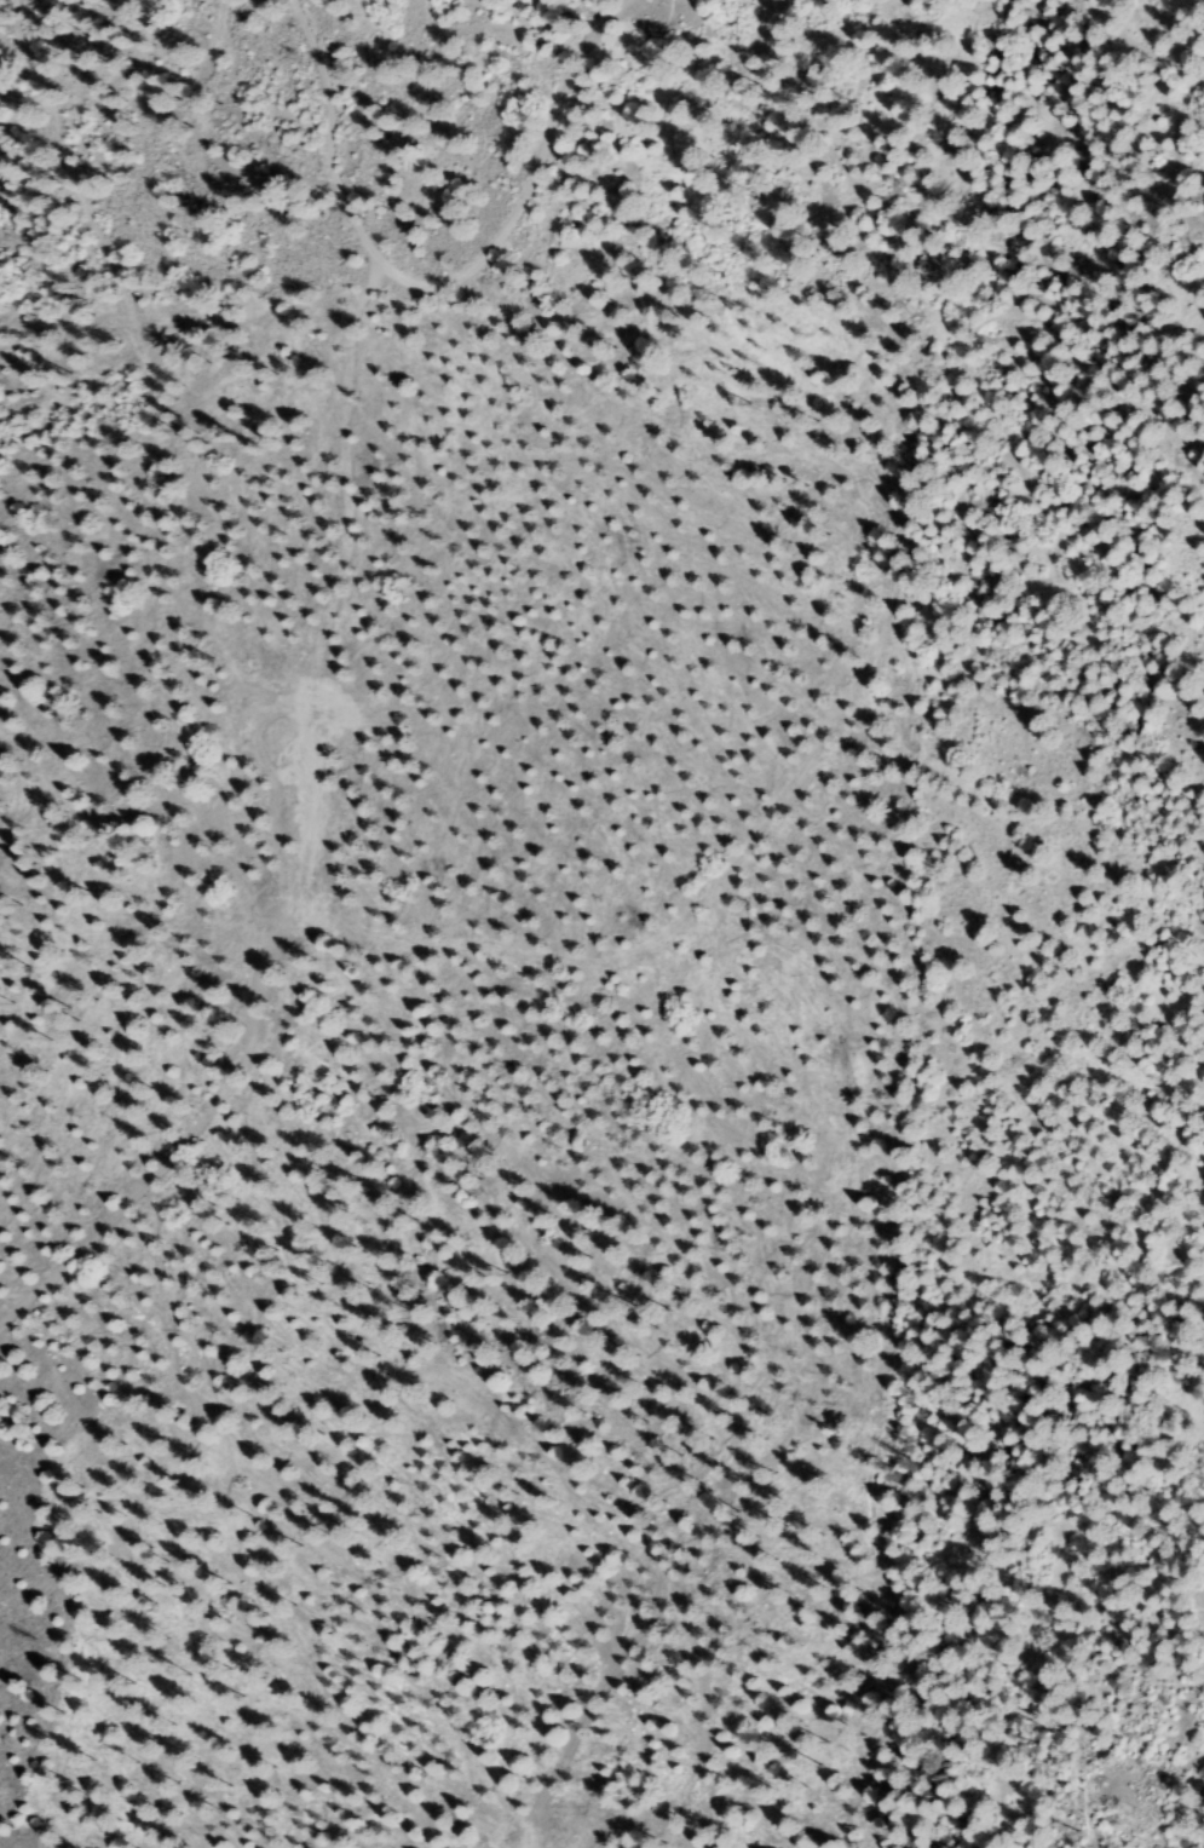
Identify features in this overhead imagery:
road: (559, 1740)

